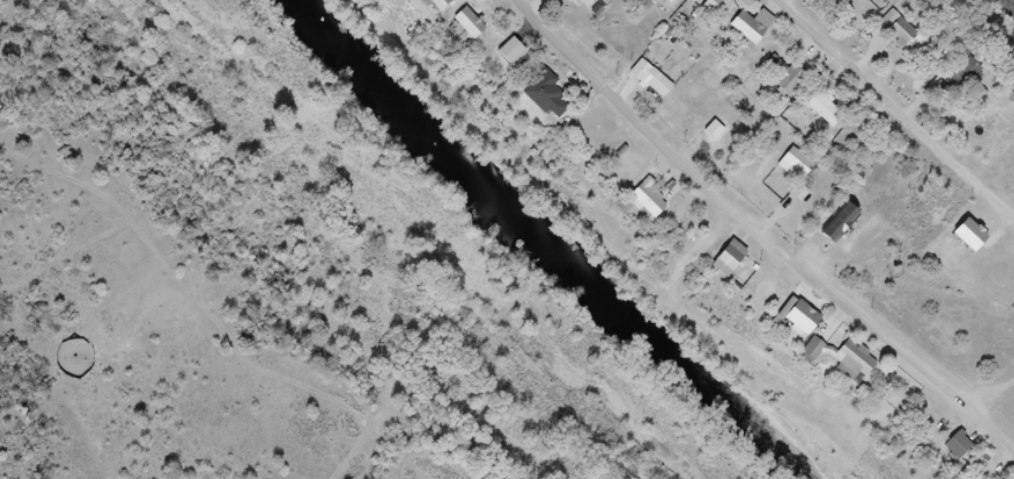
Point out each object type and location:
building: (565, 0)
building: (864, 3)
building: (595, 4)
building: (667, 5)
building: (444, 6)
building: (477, 28)
building: (760, 36)
building: (906, 40)
building: (518, 58)
building: (968, 80)
building: (657, 81)
building: (793, 82)
building: (554, 98)
road: (896, 108)
building: (833, 115)
building: (807, 169)
building: (652, 202)
building: (846, 235)
road: (751, 241)
building: (978, 243)
river: (544, 251)
building: (737, 264)
building: (810, 325)
building: (825, 336)
building: (852, 361)
building: (964, 449)

